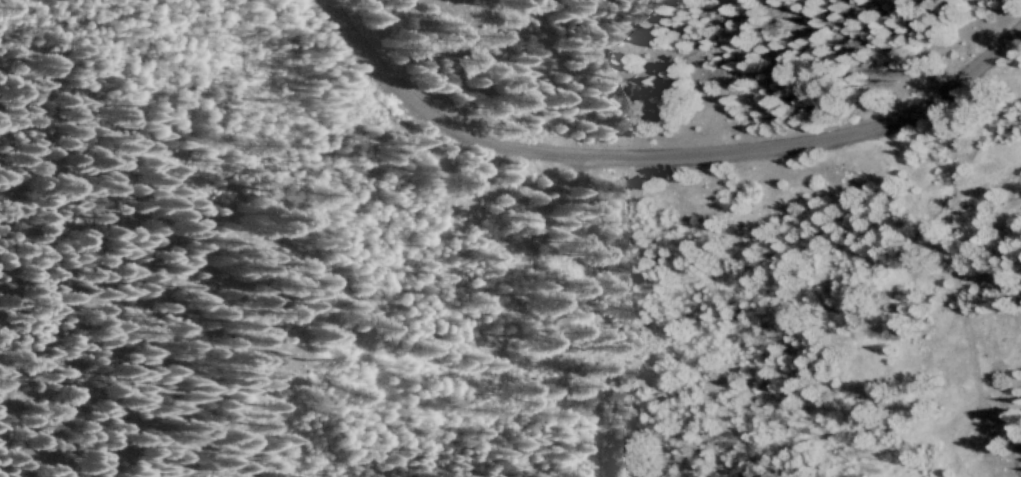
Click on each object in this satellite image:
road: (658, 158)
road: (898, 261)
road: (589, 319)

